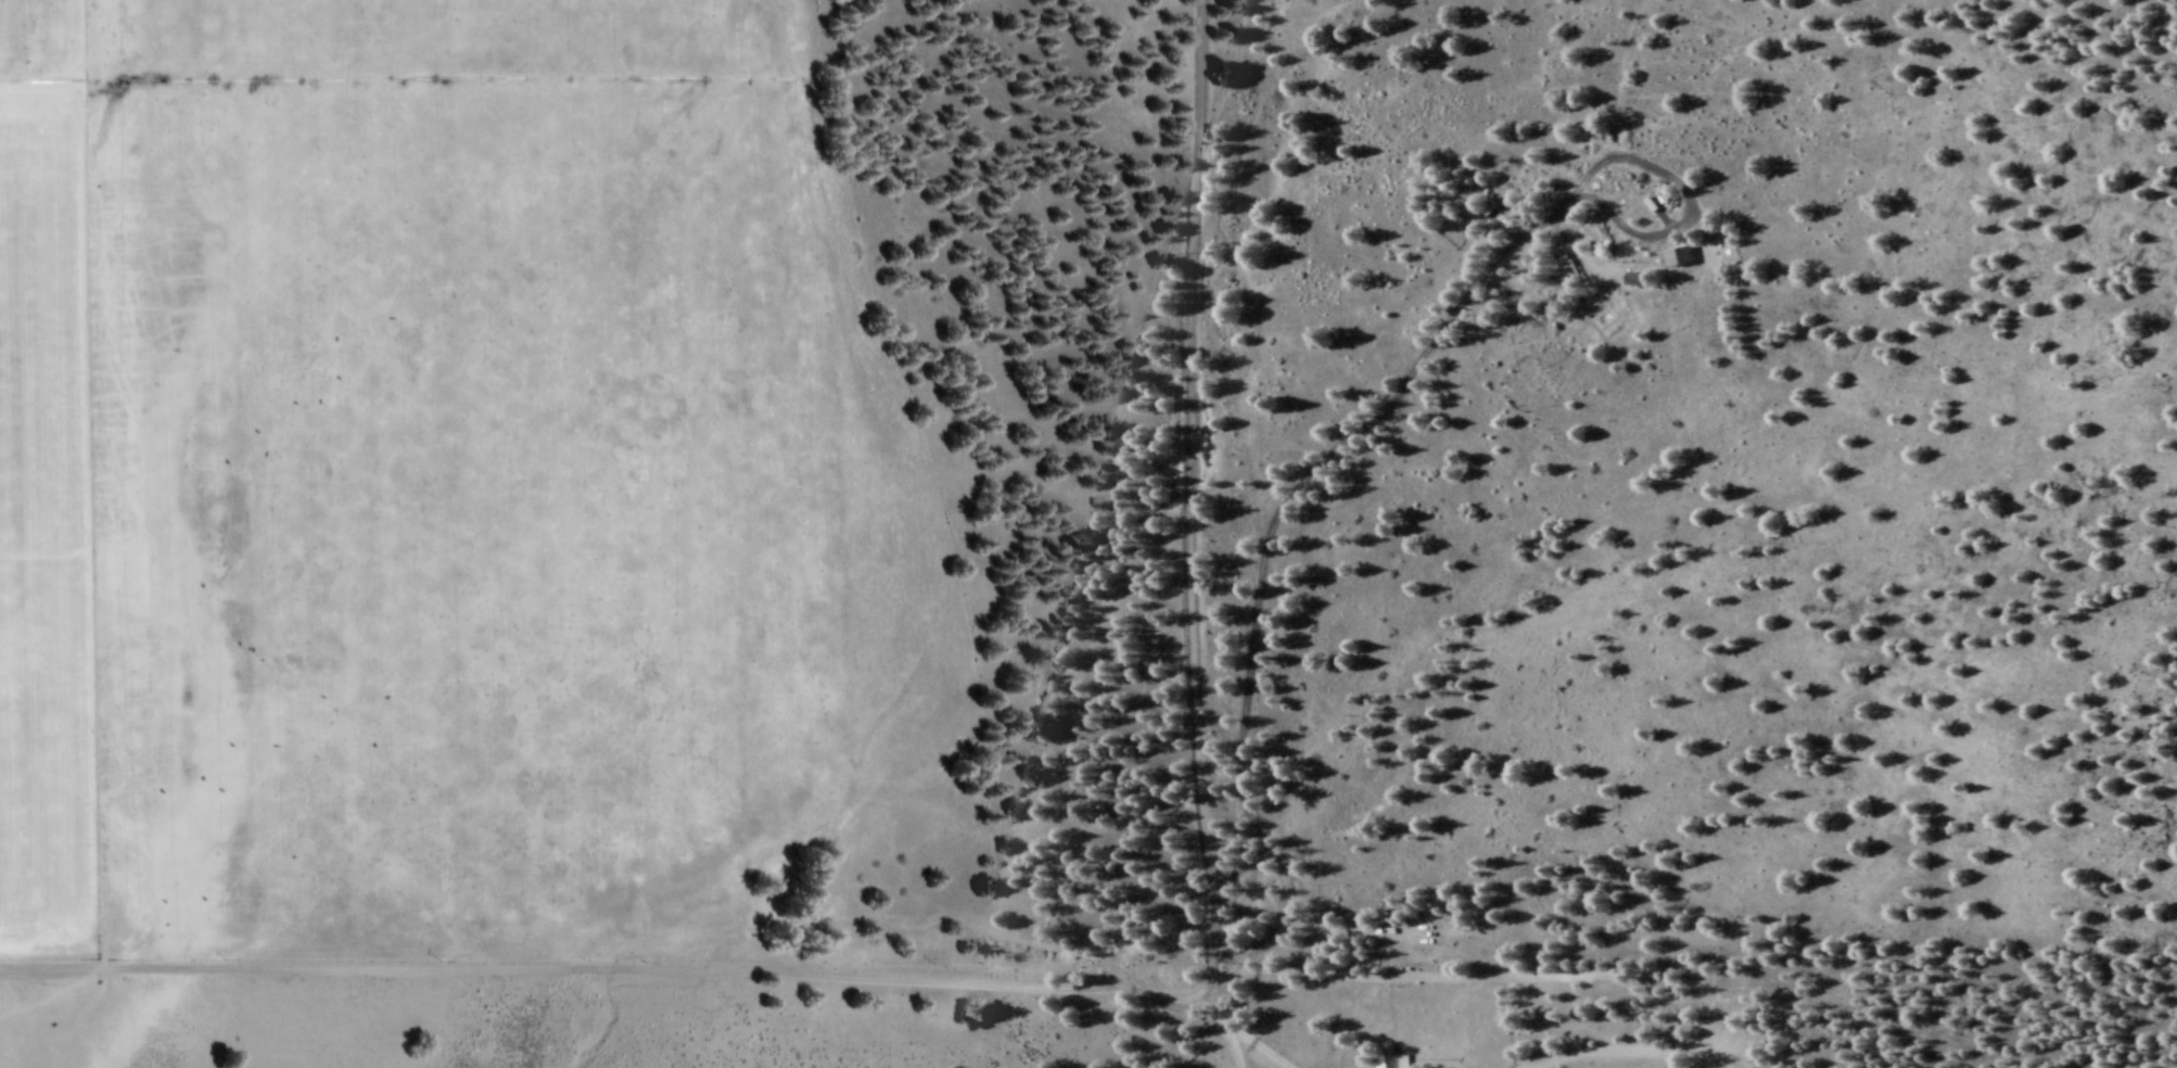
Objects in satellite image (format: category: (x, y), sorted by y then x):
building: (1680, 256)
road: (601, 969)

